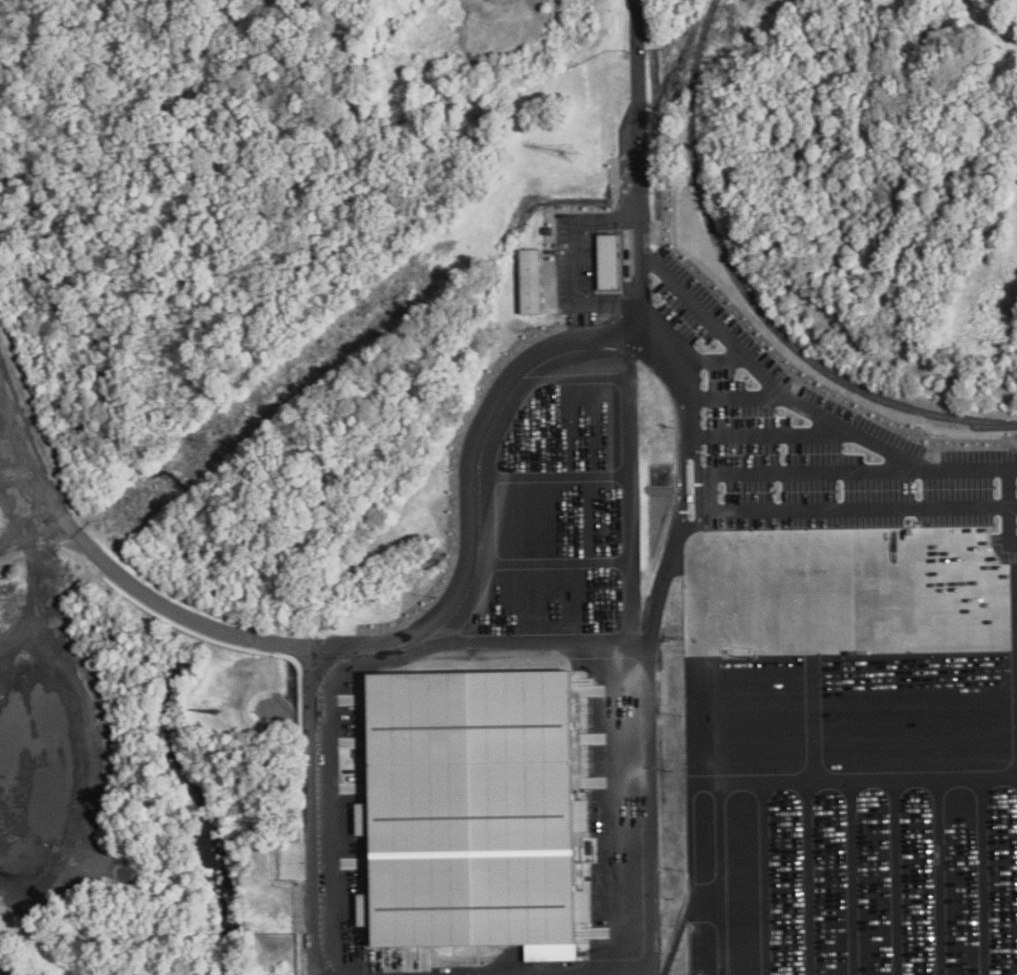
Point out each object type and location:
power tower: (571, 152)
building: (607, 261)
road: (577, 265)
building: (531, 281)
railway: (748, 293)
power tower: (217, 443)
road: (640, 487)
road: (275, 642)
railway: (983, 670)
road: (721, 695)
railway: (992, 789)
road: (333, 811)
building: (471, 811)
road: (628, 974)

